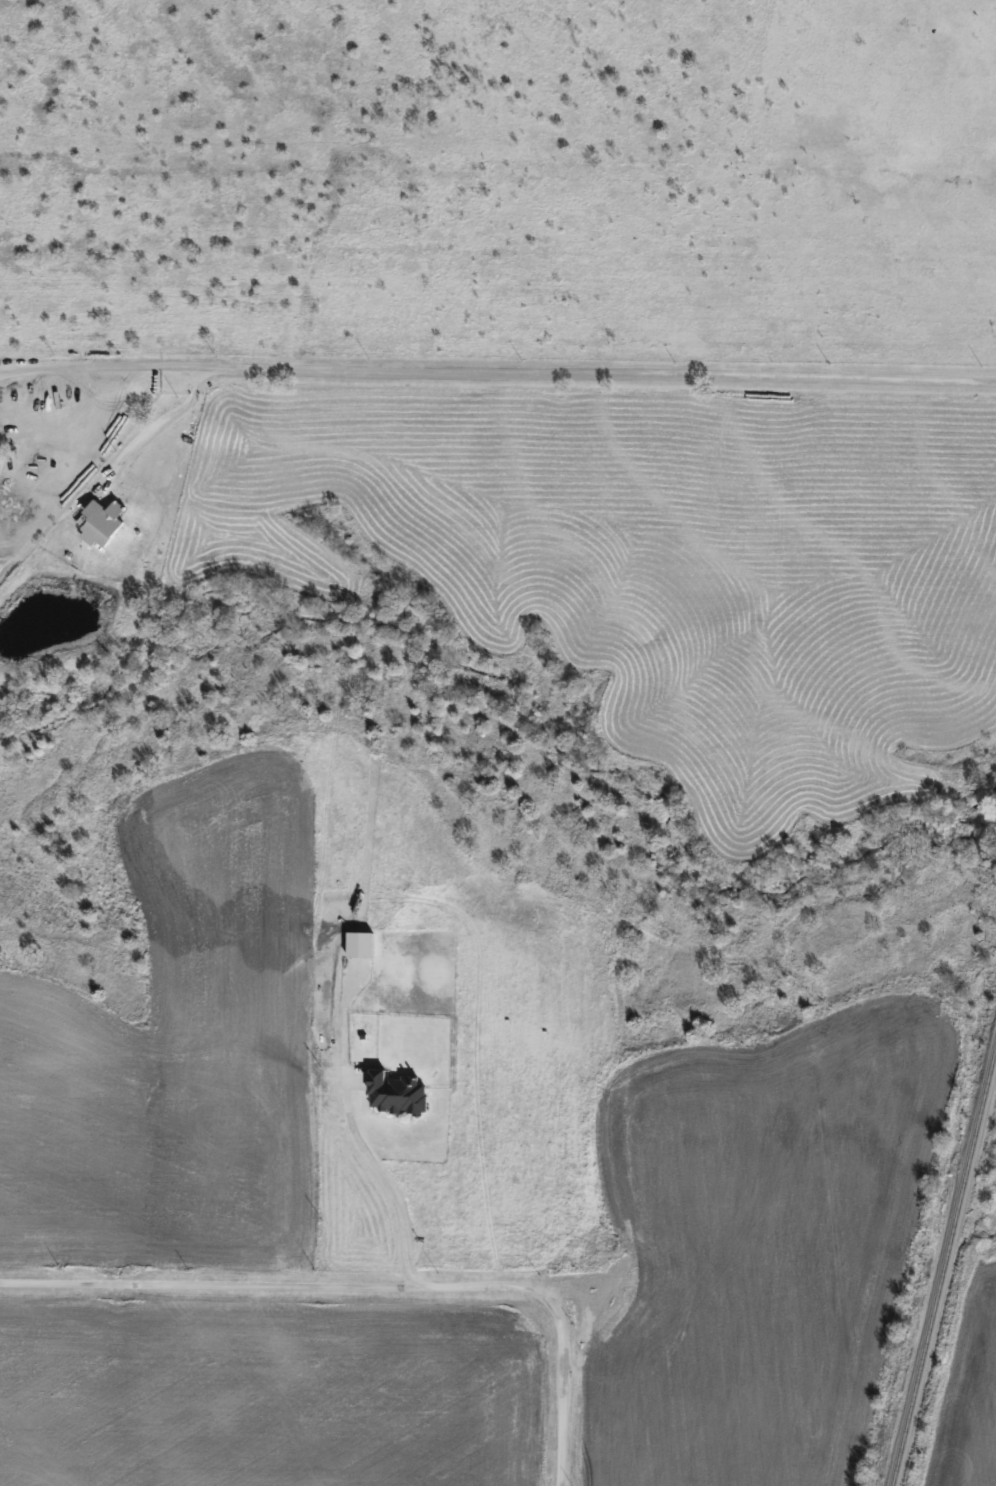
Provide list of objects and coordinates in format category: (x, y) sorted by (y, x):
road: (21, 369)
road: (519, 374)
road: (150, 425)
building: (397, 1093)
road: (379, 1175)
railway: (944, 1266)
road: (373, 1285)
crop: (974, 1396)

